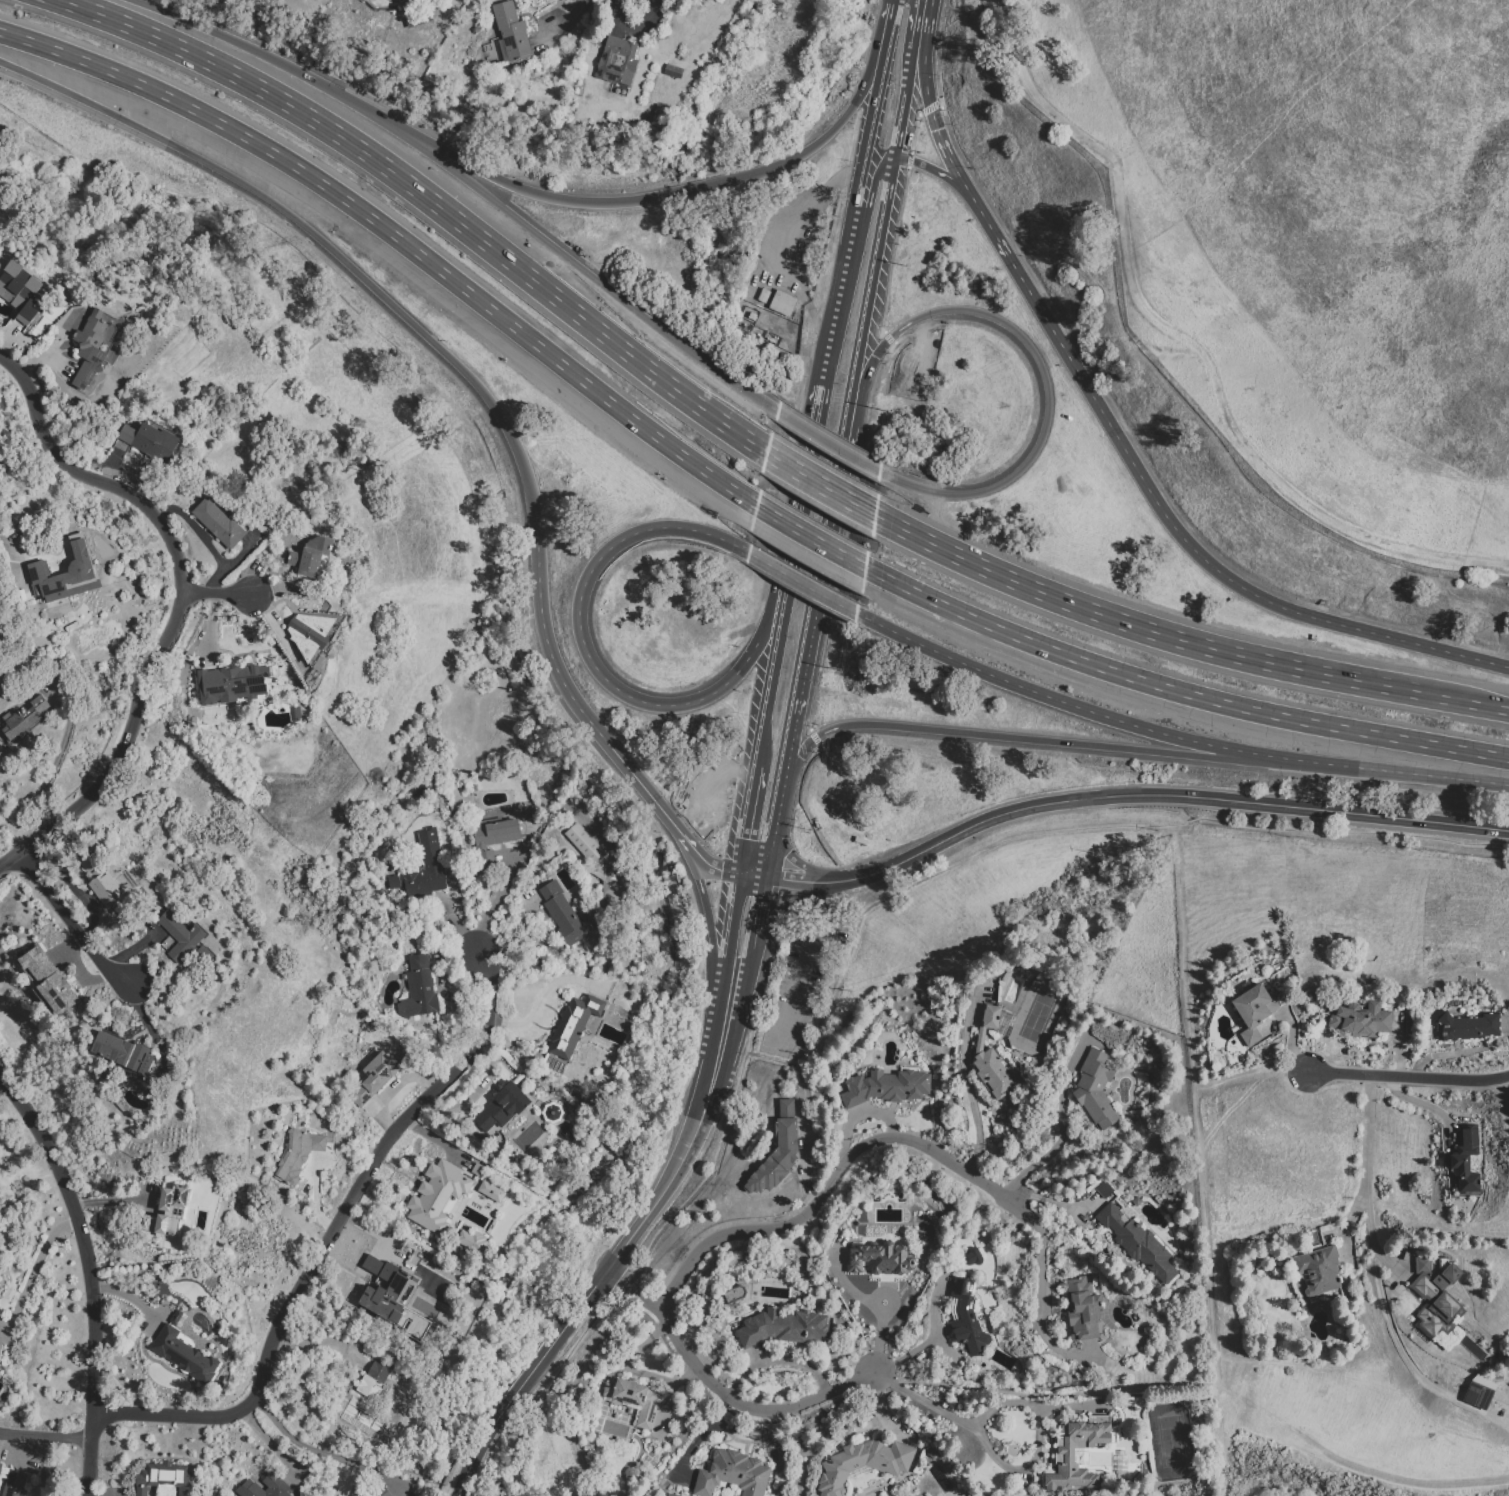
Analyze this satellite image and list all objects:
building: (416, 17)
road: (919, 19)
road: (564, 23)
road: (630, 27)
building: (507, 37)
building: (617, 64)
building: (673, 71)
road: (879, 87)
road: (928, 96)
road: (906, 98)
building: (664, 116)
road: (931, 168)
road: (472, 182)
road: (674, 191)
road: (872, 197)
road: (430, 200)
road: (859, 208)
road: (399, 238)
road: (347, 262)
building: (14, 278)
road: (874, 282)
building: (783, 303)
building: (21, 321)
road: (1056, 335)
building: (88, 347)
road: (1037, 368)
road: (820, 404)
building: (125, 434)
building: (155, 439)
road: (830, 444)
building: (113, 463)
road: (87, 478)
road: (823, 485)
building: (217, 524)
road: (814, 538)
road: (11, 558)
building: (310, 558)
road: (823, 560)
building: (68, 572)
road: (782, 579)
road: (803, 584)
road: (214, 593)
road: (786, 606)
road: (1304, 616)
road: (1138, 627)
building: (310, 632)
road: (590, 655)
road: (557, 665)
building: (229, 685)
road: (773, 691)
road: (1178, 691)
road: (1463, 700)
building: (23, 719)
road: (793, 723)
road: (1172, 736)
road: (604, 737)
road: (1039, 741)
road: (118, 748)
road: (764, 750)
road: (787, 756)
road: (53, 763)
road: (645, 789)
road: (1222, 800)
road: (752, 818)
road: (1195, 819)
road: (773, 829)
road: (1075, 829)
road: (1355, 833)
building: (491, 838)
building: (583, 843)
road: (790, 855)
road: (705, 860)
road: (890, 866)
building: (421, 873)
road: (753, 875)
road: (799, 882)
building: (103, 884)
road: (497, 901)
road: (784, 904)
building: (562, 910)
road: (709, 910)
road: (756, 911)
road: (66, 924)
road: (732, 932)
building: (177, 938)
road: (845, 964)
road: (806, 966)
road: (740, 969)
building: (47, 978)
parking lot: (801, 981)
building: (418, 990)
road: (540, 996)
building: (1252, 1010)
park: (1036, 1015)
building: (1360, 1019)
building: (572, 1024)
building: (1467, 1025)
road: (1290, 1033)
road: (763, 1048)
road: (1398, 1050)
building: (120, 1051)
road: (718, 1052)
building: (989, 1052)
building: (374, 1076)
road: (1249, 1077)
road: (1409, 1077)
building: (887, 1086)
building: (1094, 1089)
road: (968, 1091)
road: (1417, 1101)
road: (1195, 1104)
building: (500, 1107)
road: (855, 1114)
road: (1061, 1123)
road: (1367, 1137)
building: (777, 1148)
building: (298, 1151)
building: (1466, 1161)
road: (804, 1170)
road: (839, 1171)
road: (709, 1173)
road: (1013, 1182)
building: (490, 1190)
road: (660, 1192)
building: (436, 1194)
road: (1045, 1200)
building: (167, 1212)
road: (1352, 1219)
road: (322, 1239)
building: (470, 1240)
building: (1140, 1245)
building: (972, 1256)
building: (881, 1257)
building: (1317, 1269)
road: (33, 1271)
road: (87, 1275)
road: (619, 1280)
road: (844, 1285)
building: (1435, 1293)
road: (128, 1295)
building: (391, 1297)
building: (1080, 1307)
road: (1042, 1308)
building: (965, 1316)
building: (778, 1326)
road: (878, 1334)
road: (934, 1338)
road: (1397, 1339)
building: (0, 1344)
building: (183, 1353)
road: (774, 1357)
road: (623, 1361)
road: (528, 1379)
building: (1480, 1388)
road: (548, 1390)
road: (668, 1393)
road: (722, 1393)
road: (1051, 1393)
building: (366, 1397)
building: (631, 1400)
road: (1015, 1401)
road: (878, 1406)
road: (567, 1424)
road: (700, 1434)
road: (44, 1437)
park: (1169, 1441)
road: (270, 1444)
road: (308, 1451)
road: (795, 1451)
building: (1063, 1457)
road: (1351, 1460)
building: (861, 1462)
building: (0, 1463)
building: (731, 1473)
building: (164, 1477)
building: (15, 1483)
building: (275, 1484)
building: (378, 1491)
building: (670, 1494)

